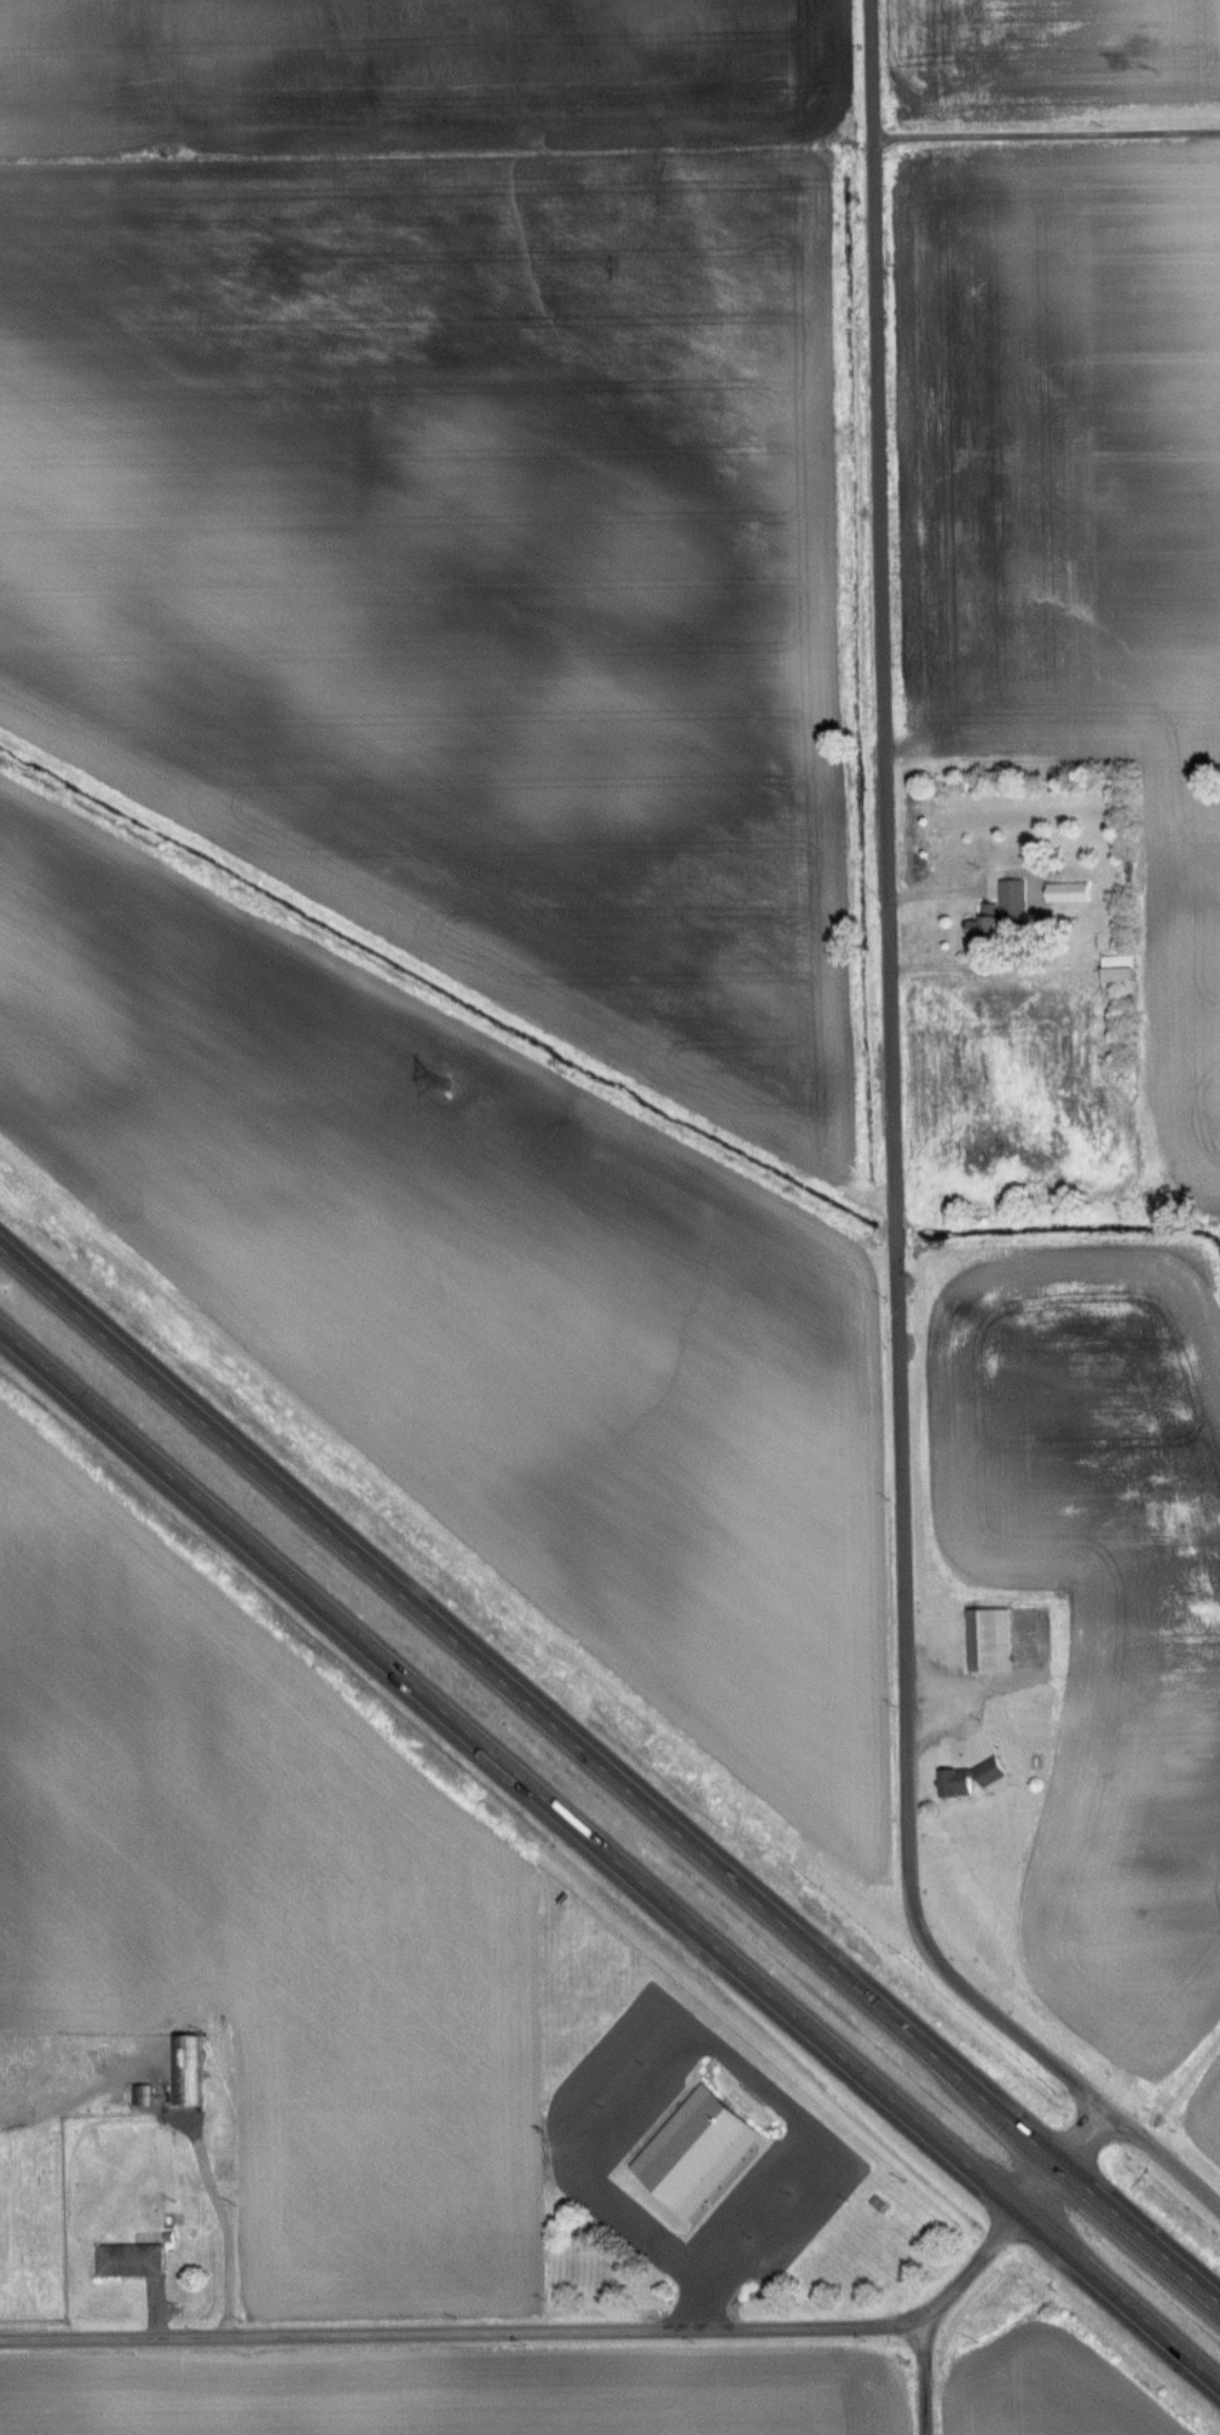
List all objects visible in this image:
road: (1046, 109)
building: (1066, 890)
building: (1011, 899)
road: (1039, 907)
road: (892, 1096)
building: (988, 1639)
road: (530, 1704)
road: (509, 1770)
building: (964, 1777)
building: (174, 2077)
road: (1083, 2137)
building: (693, 2151)
road: (1163, 2157)
building: (222, 2166)
road: (1040, 2188)
road: (1140, 2234)
building: (128, 2258)
road: (1120, 2297)
road: (538, 2331)
road: (925, 2381)

